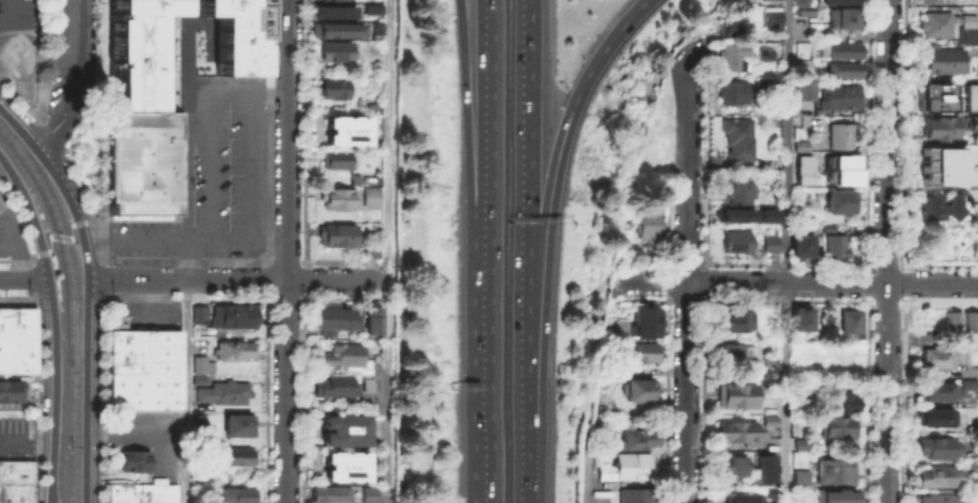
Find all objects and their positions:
building: (824, 0)
building: (926, 0)
building: (799, 1)
building: (371, 7)
road: (8, 11)
building: (333, 11)
building: (772, 13)
building: (844, 15)
building: (729, 22)
building: (948, 25)
building: (376, 26)
building: (337, 29)
road: (209, 30)
building: (104, 33)
building: (236, 35)
building: (841, 47)
building: (333, 48)
building: (762, 49)
road: (161, 50)
road: (603, 50)
building: (134, 51)
building: (729, 53)
building: (939, 58)
building: (205, 60)
building: (841, 68)
road: (76, 81)
building: (762, 85)
building: (331, 86)
road: (237, 87)
building: (803, 87)
building: (731, 91)
building: (835, 95)
road: (17, 96)
building: (931, 96)
building: (970, 96)
road: (525, 110)
road: (687, 118)
building: (971, 121)
building: (936, 126)
road: (16, 127)
road: (266, 129)
building: (345, 129)
road: (303, 130)
road: (471, 131)
road: (489, 131)
road: (49, 132)
building: (841, 135)
building: (735, 137)
road: (786, 141)
building: (799, 145)
building: (333, 156)
building: (140, 162)
road: (247, 162)
road: (547, 164)
building: (943, 165)
building: (802, 168)
building: (839, 168)
road: (208, 171)
building: (354, 178)
road: (81, 183)
building: (732, 186)
parking lot: (208, 188)
road: (63, 189)
building: (368, 193)
building: (334, 195)
building: (839, 199)
road: (386, 200)
building: (939, 207)
building: (733, 214)
building: (767, 214)
road: (85, 221)
building: (643, 221)
road: (17, 224)
building: (333, 229)
road: (686, 233)
road: (134, 236)
road: (246, 236)
road: (60, 237)
road: (97, 239)
building: (734, 239)
building: (799, 240)
building: (769, 241)
building: (833, 245)
road: (187, 251)
road: (286, 251)
road: (887, 251)
road: (36, 253)
road: (15, 259)
road: (185, 259)
road: (301, 259)
road: (266, 277)
road: (105, 278)
road: (236, 278)
road: (24, 279)
road: (32, 280)
road: (635, 281)
road: (669, 281)
road: (831, 282)
road: (18, 296)
road: (266, 296)
road: (302, 296)
road: (185, 298)
railway: (75, 302)
railway: (66, 312)
building: (196, 312)
building: (229, 313)
building: (799, 316)
building: (371, 317)
building: (333, 318)
building: (736, 318)
building: (952, 318)
building: (970, 318)
road: (523, 320)
building: (645, 320)
building: (847, 322)
road: (55, 323)
building: (15, 338)
building: (230, 348)
building: (641, 350)
building: (728, 351)
building: (341, 352)
building: (840, 353)
building: (802, 355)
building: (934, 355)
building: (199, 362)
building: (373, 362)
building: (140, 365)
road: (87, 370)
building: (365, 381)
building: (333, 383)
road: (483, 383)
building: (966, 383)
building: (9, 388)
building: (640, 388)
building: (222, 389)
building: (935, 389)
road: (685, 392)
road: (785, 392)
building: (733, 393)
building: (842, 395)
road: (104, 400)
road: (266, 400)
road: (302, 400)
road: (35, 401)
building: (934, 415)
building: (768, 418)
building: (236, 422)
building: (837, 425)
building: (343, 429)
building: (735, 430)
building: (637, 432)
road: (136, 434)
road: (16, 441)
road: (43, 441)
building: (800, 442)
building: (934, 445)
road: (386, 452)
building: (233, 453)
building: (132, 459)
road: (522, 461)
building: (730, 464)
building: (623, 465)
building: (343, 466)
building: (832, 469)
building: (933, 474)
building: (798, 476)
building: (15, 480)
road: (583, 488)
building: (771, 488)
building: (327, 491)
building: (141, 492)
building: (233, 493)
building: (367, 493)
building: (633, 493)
building: (833, 495)
building: (964, 496)
building: (934, 497)
building: (741, 498)
building: (368, 502)

